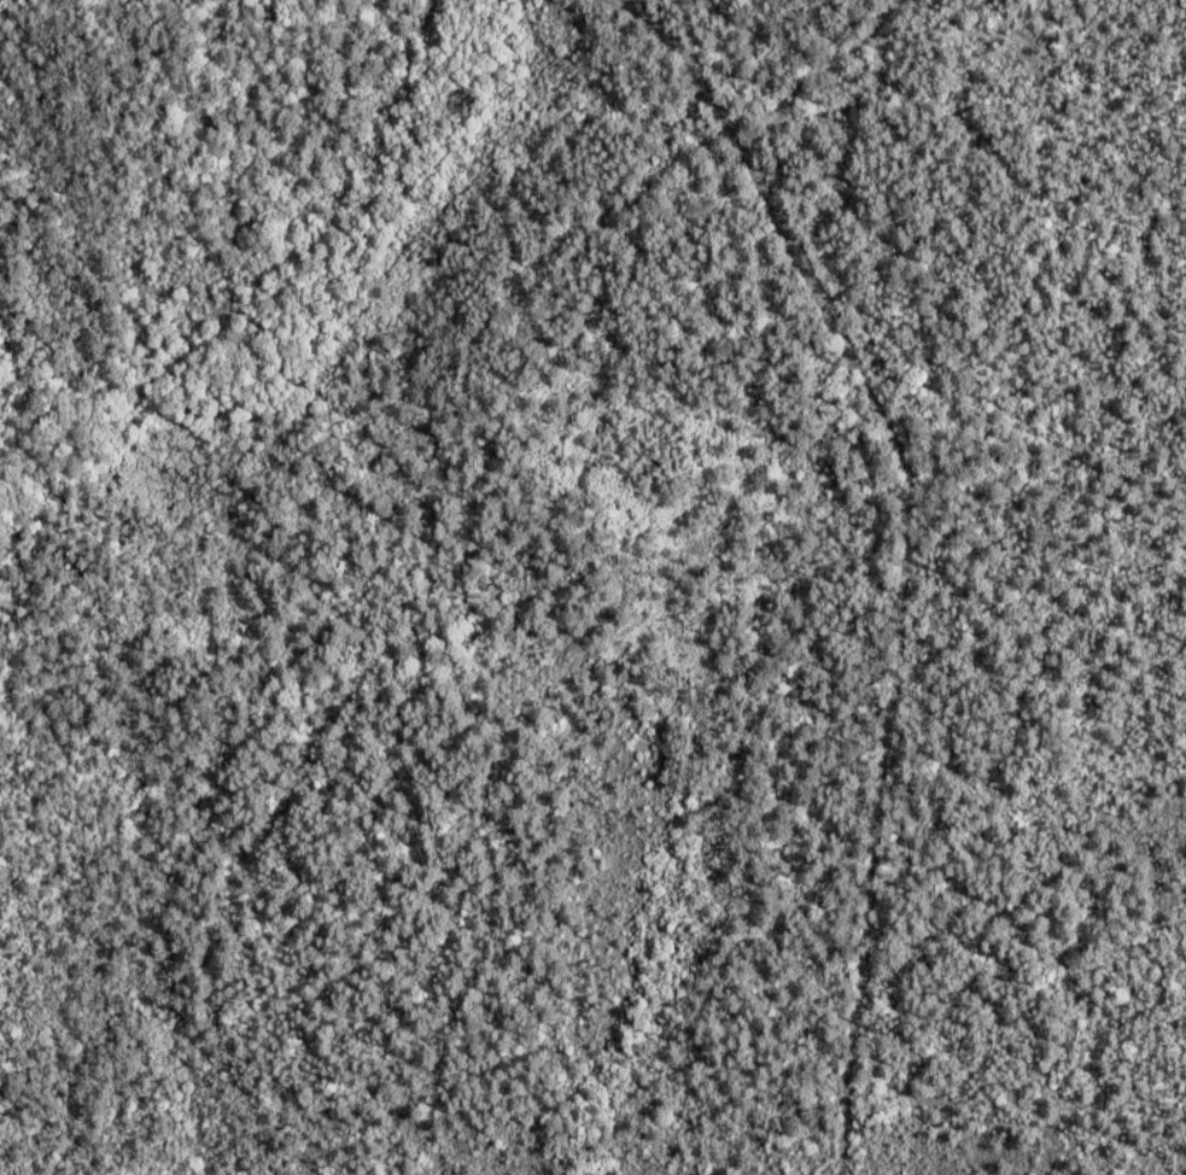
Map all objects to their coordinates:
road: (913, 540)

